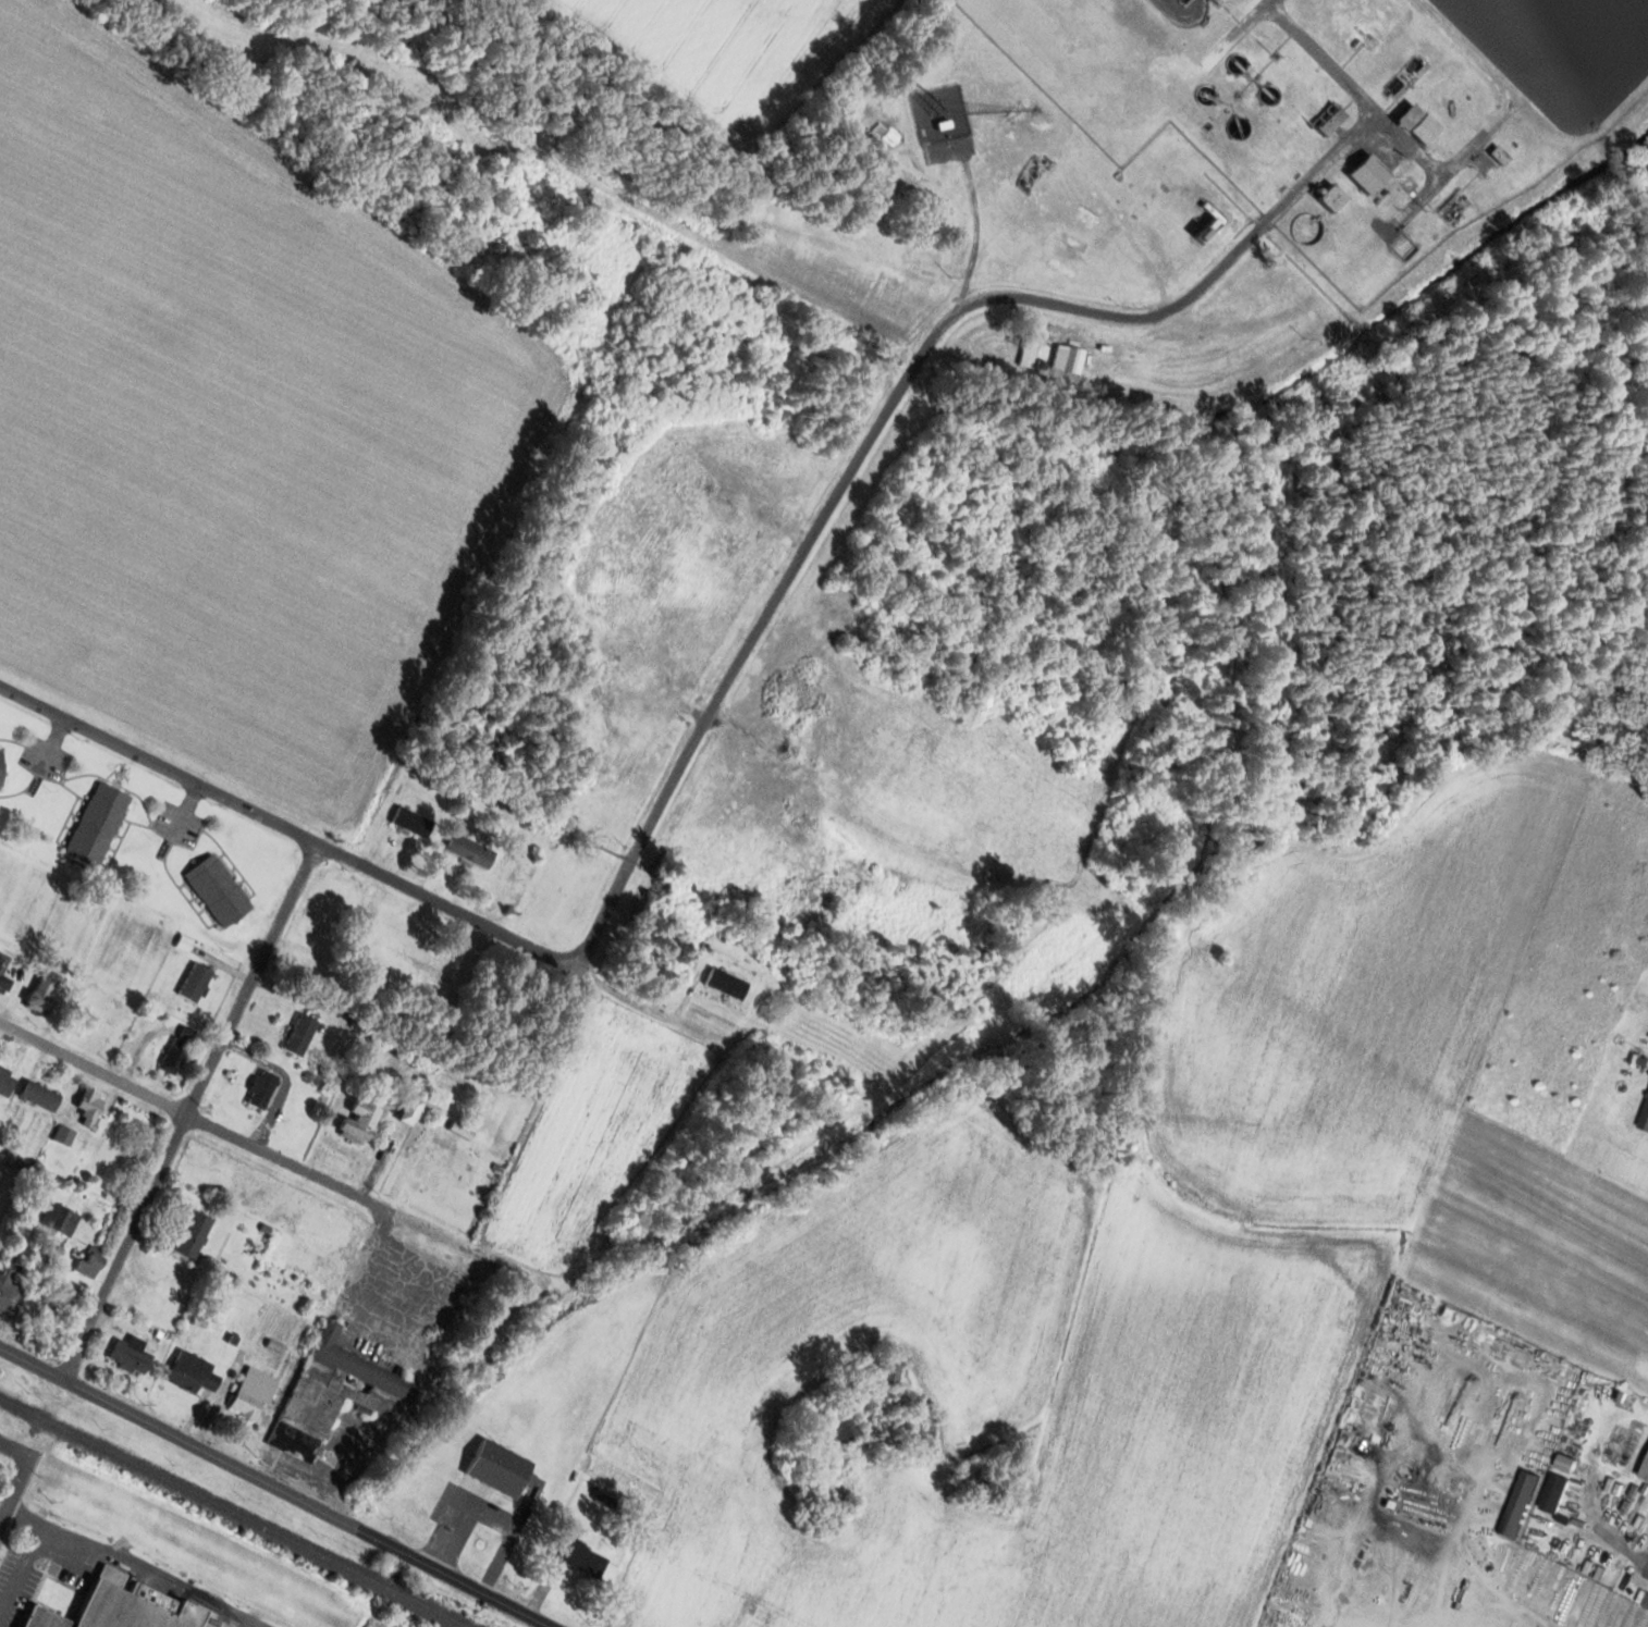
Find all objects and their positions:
wastewater plant: (1559, 54)
building: (1407, 116)
building: (1328, 119)
building: (1498, 155)
building: (1368, 173)
building: (1332, 197)
building: (1029, 352)
building: (1066, 358)
road: (740, 661)
road: (567, 700)
building: (1, 767)
building: (411, 823)
building: (97, 825)
building: (469, 851)
building: (502, 889)
building: (218, 890)
road: (441, 903)
building: (2, 966)
building: (195, 982)
building: (725, 984)
building: (40, 995)
building: (300, 1035)
building: (175, 1056)
building: (5, 1083)
building: (261, 1089)
building: (39, 1096)
building: (89, 1106)
building: (410, 1110)
road: (189, 1111)
building: (1645, 1119)
building: (359, 1122)
road: (285, 1163)
building: (450, 1166)
building: (59, 1219)
building: (193, 1234)
building: (89, 1265)
building: (9, 1291)
building: (130, 1355)
building: (889, 1370)
building: (192, 1372)
building: (253, 1393)
building: (334, 1394)
building: (838, 1431)
building: (921, 1433)
road: (14, 1450)
road: (214, 1451)
building: (499, 1468)
building: (1645, 1472)
road: (14, 1487)
building: (1555, 1492)
building: (1520, 1504)
railway: (233, 1512)
building: (578, 1556)
road: (499, 1590)
building: (133, 1604)
building: (44, 1617)

